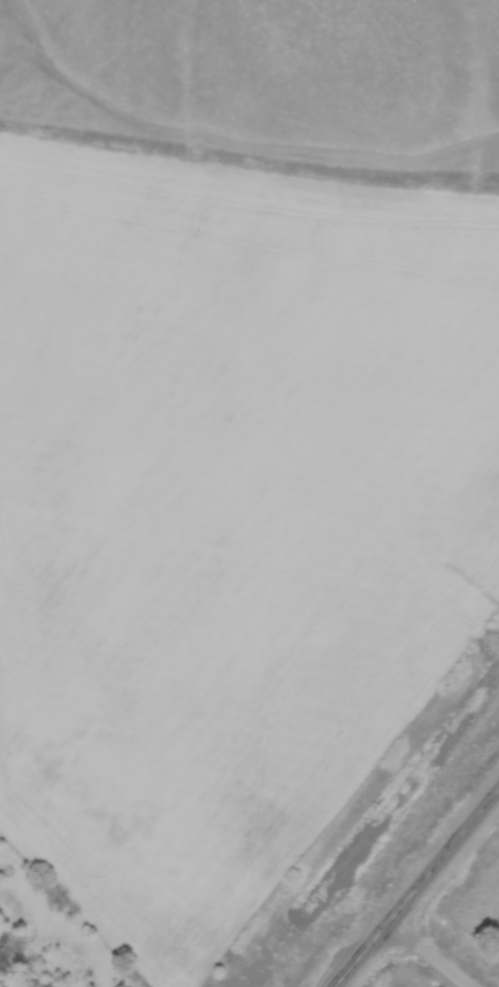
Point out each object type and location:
road: (415, 887)
road: (430, 954)

